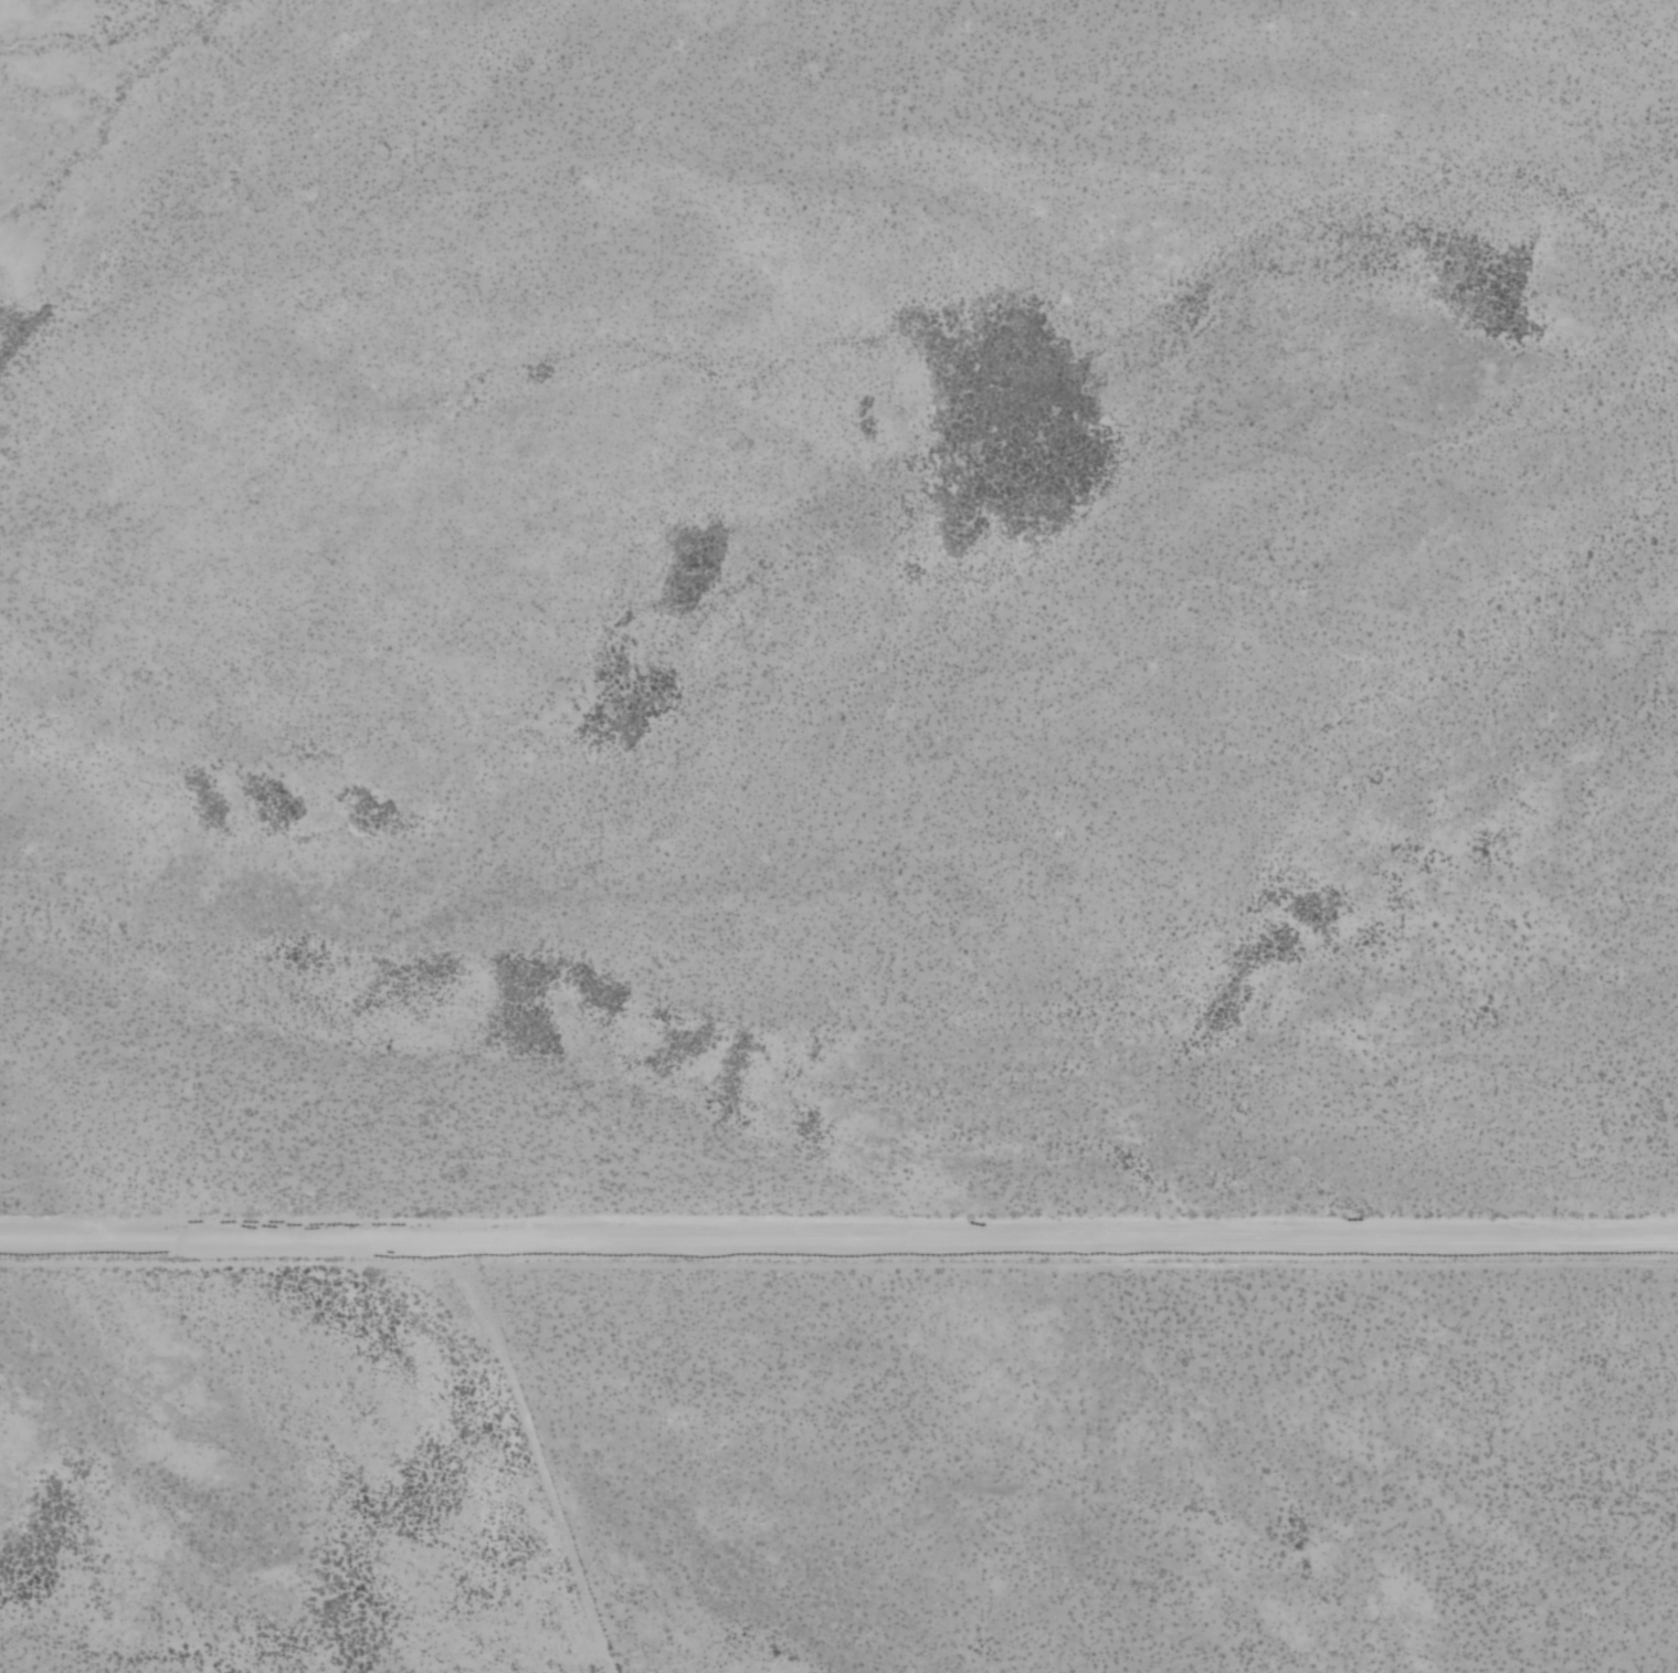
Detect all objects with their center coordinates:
road: (838, 1233)

